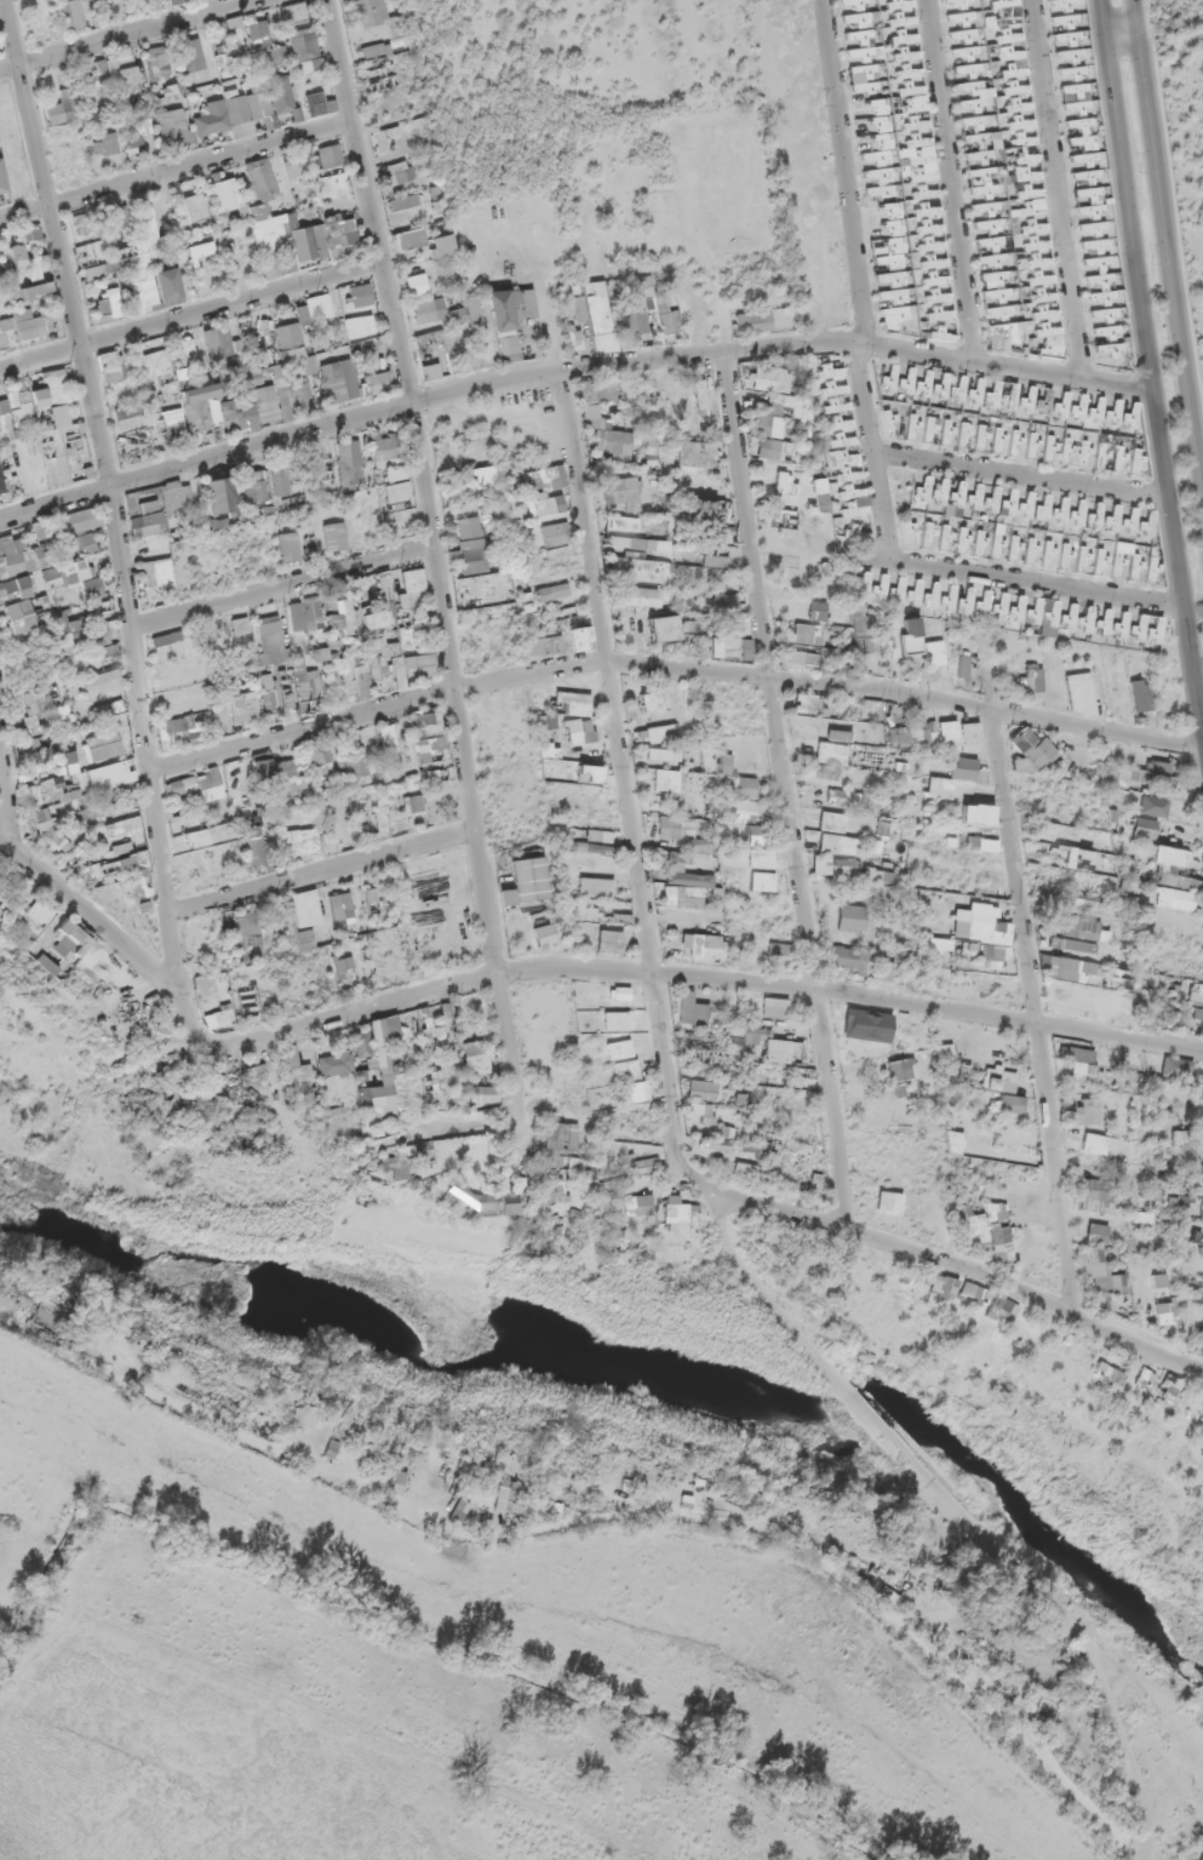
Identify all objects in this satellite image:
river: (636, 1361)

